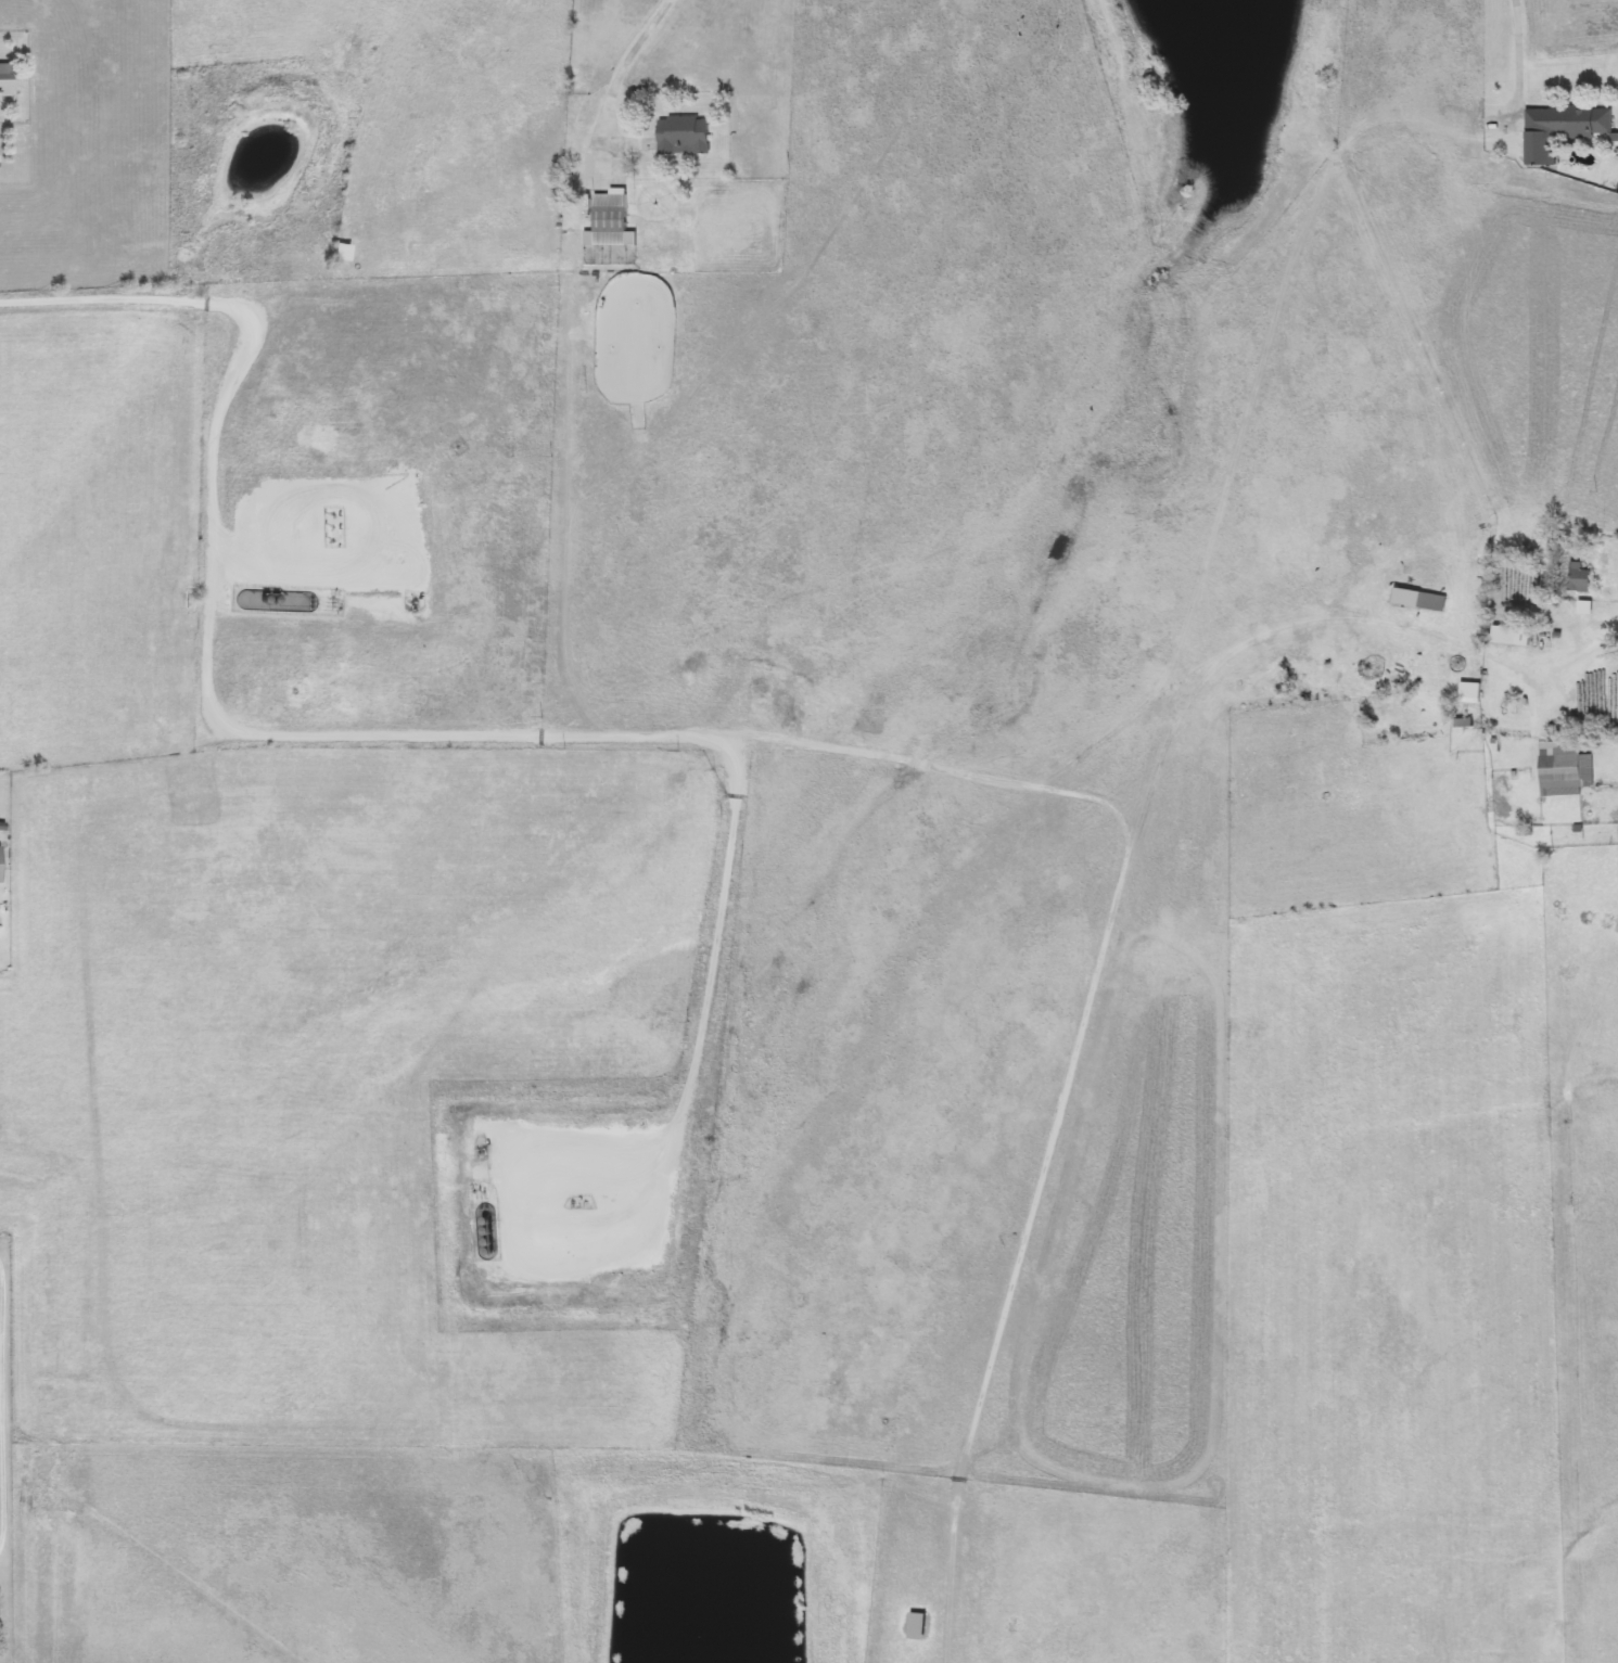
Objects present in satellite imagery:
road: (1517, 47)
road: (626, 62)
building: (7, 79)
building: (1555, 129)
building: (690, 135)
building: (614, 218)
building: (344, 253)
building: (1572, 579)
building: (1411, 601)
building: (1502, 637)
road: (1494, 657)
building: (1462, 694)
road: (358, 722)
building: (1557, 770)
building: (2, 864)
road: (1096, 933)
road: (4, 1399)

